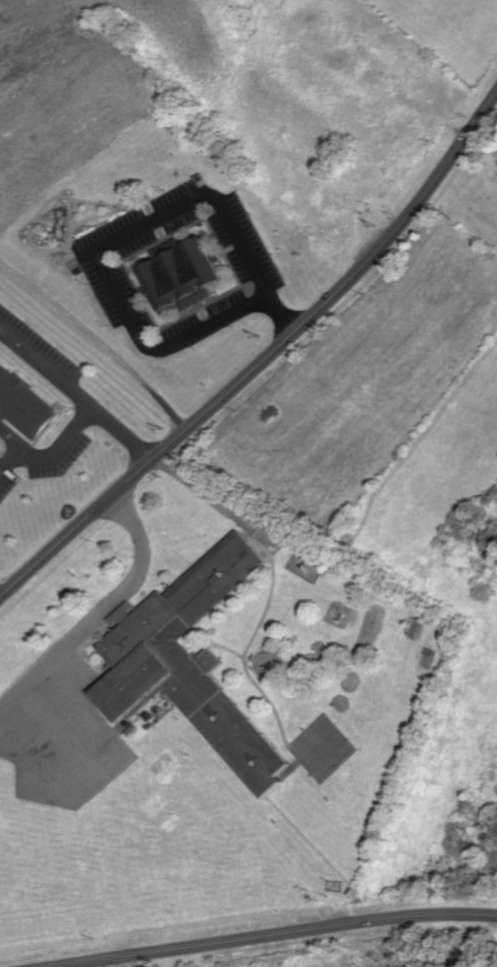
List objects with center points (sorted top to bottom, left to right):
road: (118, 236)
building: (183, 274)
road: (264, 361)
road: (78, 391)
building: (23, 404)
road: (54, 449)
building: (189, 660)
road: (82, 695)
road: (488, 931)
road: (275, 935)
road: (124, 962)

